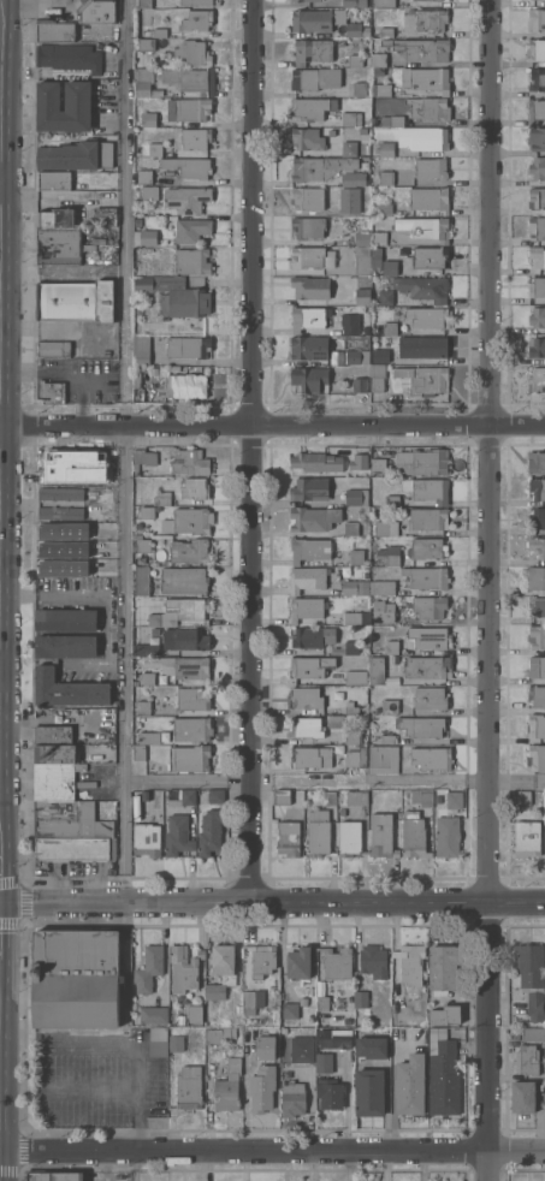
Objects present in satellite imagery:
building: (72, 0)
building: (306, 0)
building: (432, 0)
building: (194, 1)
building: (384, 2)
building: (143, 4)
building: (355, 4)
building: (96, 11)
building: (339, 16)
building: (146, 17)
building: (196, 19)
building: (431, 19)
building: (312, 20)
building: (535, 20)
building: (353, 29)
building: (54, 30)
building: (386, 31)
building: (159, 32)
building: (146, 44)
building: (420, 48)
building: (537, 49)
building: (312, 51)
building: (192, 53)
building: (69, 57)
building: (379, 59)
building: (355, 60)
building: (315, 78)
building: (189, 79)
building: (425, 79)
building: (537, 79)
building: (144, 82)
building: (359, 88)
road: (0, 90)
building: (384, 90)
building: (77, 96)
building: (191, 108)
building: (310, 108)
building: (428, 111)
building: (538, 112)
building: (148, 119)
building: (351, 119)
building: (386, 119)
building: (195, 138)
building: (307, 138)
building: (423, 138)
building: (537, 138)
building: (386, 148)
building: (154, 149)
building: (348, 149)
building: (75, 155)
building: (320, 166)
building: (188, 167)
building: (431, 168)
building: (538, 168)
building: (142, 177)
building: (353, 178)
building: (385, 178)
building: (53, 180)
building: (148, 192)
building: (307, 197)
building: (537, 197)
building: (185, 198)
building: (430, 200)
building: (349, 208)
building: (384, 208)
building: (54, 218)
building: (308, 227)
building: (425, 227)
building: (535, 227)
building: (190, 230)
building: (147, 237)
building: (362, 237)
building: (379, 237)
building: (58, 245)
building: (430, 256)
building: (537, 256)
building: (312, 257)
building: (375, 259)
building: (362, 260)
building: (191, 261)
building: (389, 267)
building: (309, 286)
building: (537, 286)
building: (423, 287)
building: (174, 295)
building: (361, 296)
building: (385, 296)
building: (398, 299)
building: (75, 301)
building: (427, 316)
building: (537, 316)
building: (307, 317)
building: (355, 327)
building: (389, 327)
building: (188, 346)
building: (422, 346)
building: (537, 346)
building: (52, 348)
building: (309, 348)
building: (140, 350)
building: (357, 356)
building: (380, 356)
building: (377, 378)
building: (310, 379)
building: (422, 379)
building: (537, 379)
building: (137, 382)
building: (360, 385)
building: (186, 386)
building: (51, 391)
road: (272, 422)
road: (254, 450)
road: (126, 451)
building: (143, 457)
building: (47, 458)
building: (357, 461)
building: (535, 461)
building: (189, 462)
building: (315, 462)
building: (421, 462)
building: (378, 465)
building: (194, 487)
building: (309, 488)
building: (427, 488)
building: (537, 488)
building: (60, 493)
building: (356, 497)
building: (161, 498)
building: (391, 500)
building: (59, 512)
building: (147, 512)
building: (313, 518)
building: (427, 518)
building: (537, 518)
building: (188, 521)
building: (350, 528)
building: (385, 528)
building: (60, 535)
building: (142, 545)
building: (537, 546)
building: (427, 548)
building: (308, 550)
building: (189, 551)
building: (356, 557)
building: (386, 559)
building: (426, 577)
building: (537, 577)
building: (306, 578)
building: (183, 580)
building: (109, 581)
building: (141, 581)
building: (348, 587)
building: (381, 587)
road: (488, 590)
building: (428, 607)
building: (537, 607)
building: (186, 609)
building: (306, 609)
building: (379, 617)
building: (350, 618)
building: (66, 619)
building: (153, 619)
building: (154, 631)
building: (312, 636)
building: (537, 636)
building: (427, 637)
building: (185, 639)
building: (363, 643)
building: (391, 647)
building: (346, 648)
building: (152, 649)
building: (180, 666)
building: (310, 666)
building: (427, 666)
building: (537, 666)
building: (375, 670)
building: (45, 673)
building: (355, 677)
building: (144, 678)
building: (537, 696)
building: (192, 698)
building: (304, 698)
building: (430, 699)
building: (389, 706)
building: (142, 707)
building: (351, 710)
building: (537, 725)
building: (306, 726)
building: (420, 726)
building: (191, 729)
building: (52, 735)
building: (351, 736)
building: (144, 738)
building: (386, 738)
building: (138, 752)
building: (53, 753)
building: (310, 756)
building: (537, 756)
building: (356, 758)
building: (431, 758)
building: (188, 759)
building: (384, 759)
building: (54, 779)
road: (334, 779)
building: (142, 795)
building: (180, 796)
building: (215, 796)
building: (282, 796)
building: (421, 796)
building: (328, 797)
building: (356, 797)
building: (523, 797)
building: (454, 800)
building: (57, 809)
building: (340, 812)
building: (71, 827)
building: (209, 831)
building: (318, 832)
building: (177, 835)
building: (381, 836)
building: (413, 836)
building: (446, 836)
building: (288, 838)
building: (348, 838)
building: (527, 838)
building: (146, 839)
building: (75, 848)
road: (272, 902)
building: (261, 960)
building: (373, 961)
building: (298, 963)
building: (337, 963)
building: (410, 963)
building: (148, 968)
building: (183, 968)
building: (443, 968)
building: (220, 972)
building: (531, 977)
building: (75, 979)
building: (271, 989)
building: (248, 998)
building: (360, 999)
building: (302, 1002)
building: (322, 1003)
building: (401, 1007)
building: (237, 1009)
building: (289, 1010)
building: (249, 1011)
building: (153, 1015)
building: (195, 1015)
building: (444, 1015)
building: (180, 1020)
building: (346, 1021)
building: (219, 1034)
building: (532, 1034)
building: (339, 1039)
building: (158, 1041)
road: (122, 1044)
building: (176, 1044)
building: (263, 1048)
building: (371, 1048)
building: (301, 1050)
building: (526, 1060)
building: (322, 1063)
building: (248, 1067)
building: (442, 1074)
building: (409, 1085)
building: (189, 1087)
building: (227, 1087)
building: (330, 1093)
building: (369, 1093)
building: (260, 1094)
building: (523, 1096)
building: (292, 1099)
road: (272, 1151)
building: (54, 1176)

